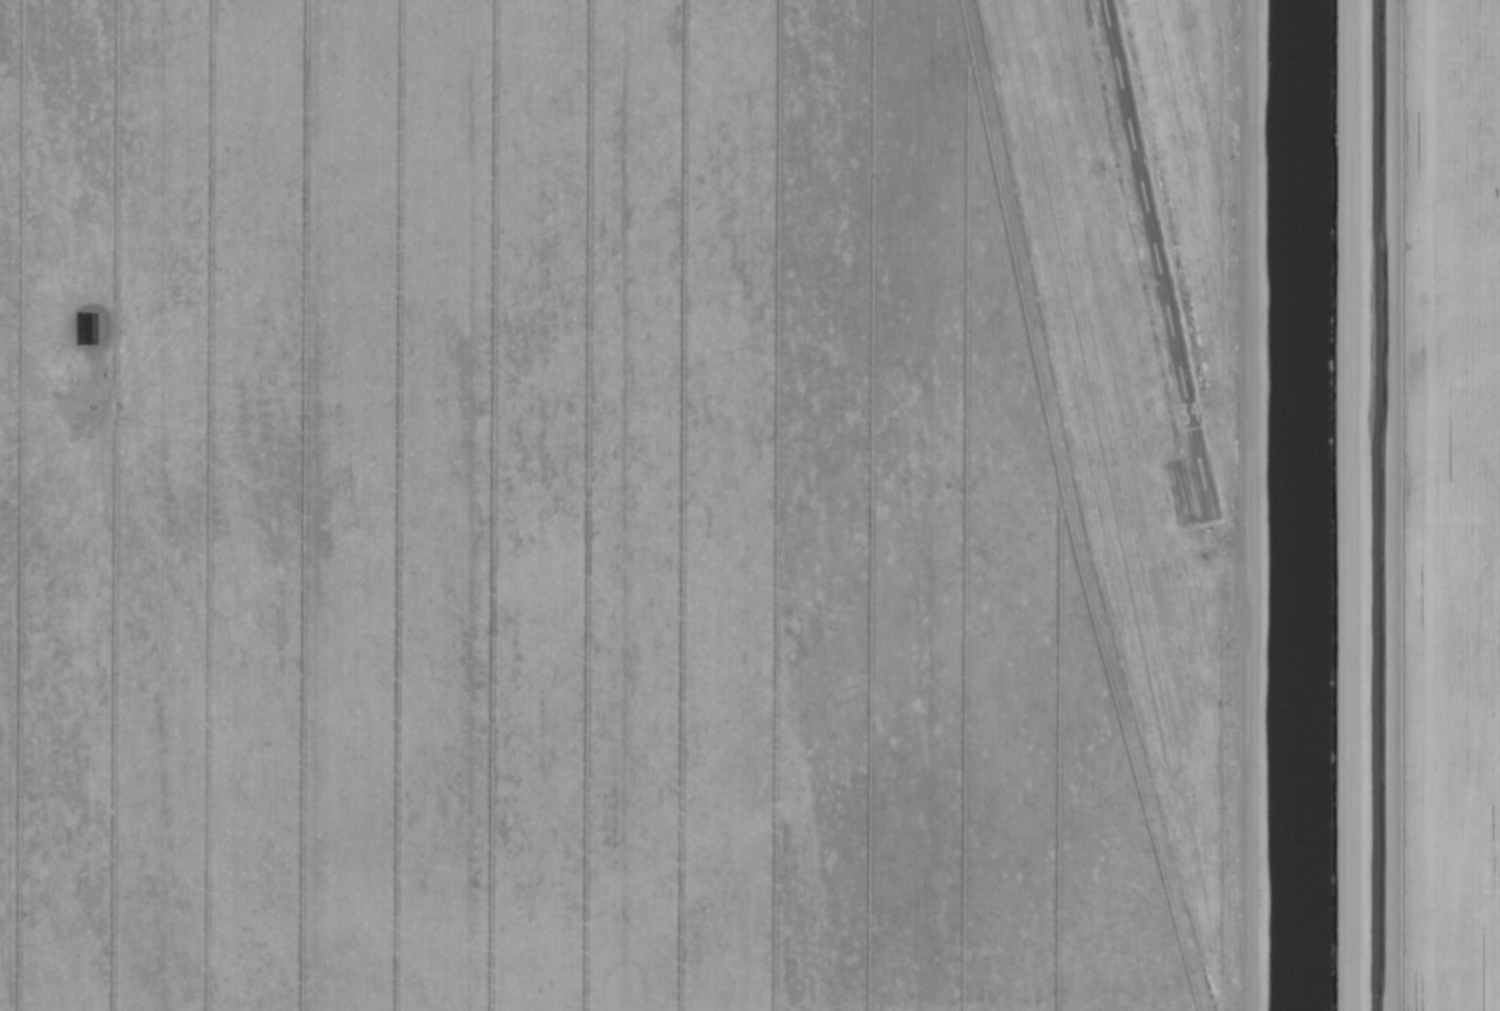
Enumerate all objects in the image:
airport runway: (1152, 215)
road: (1329, 505)

